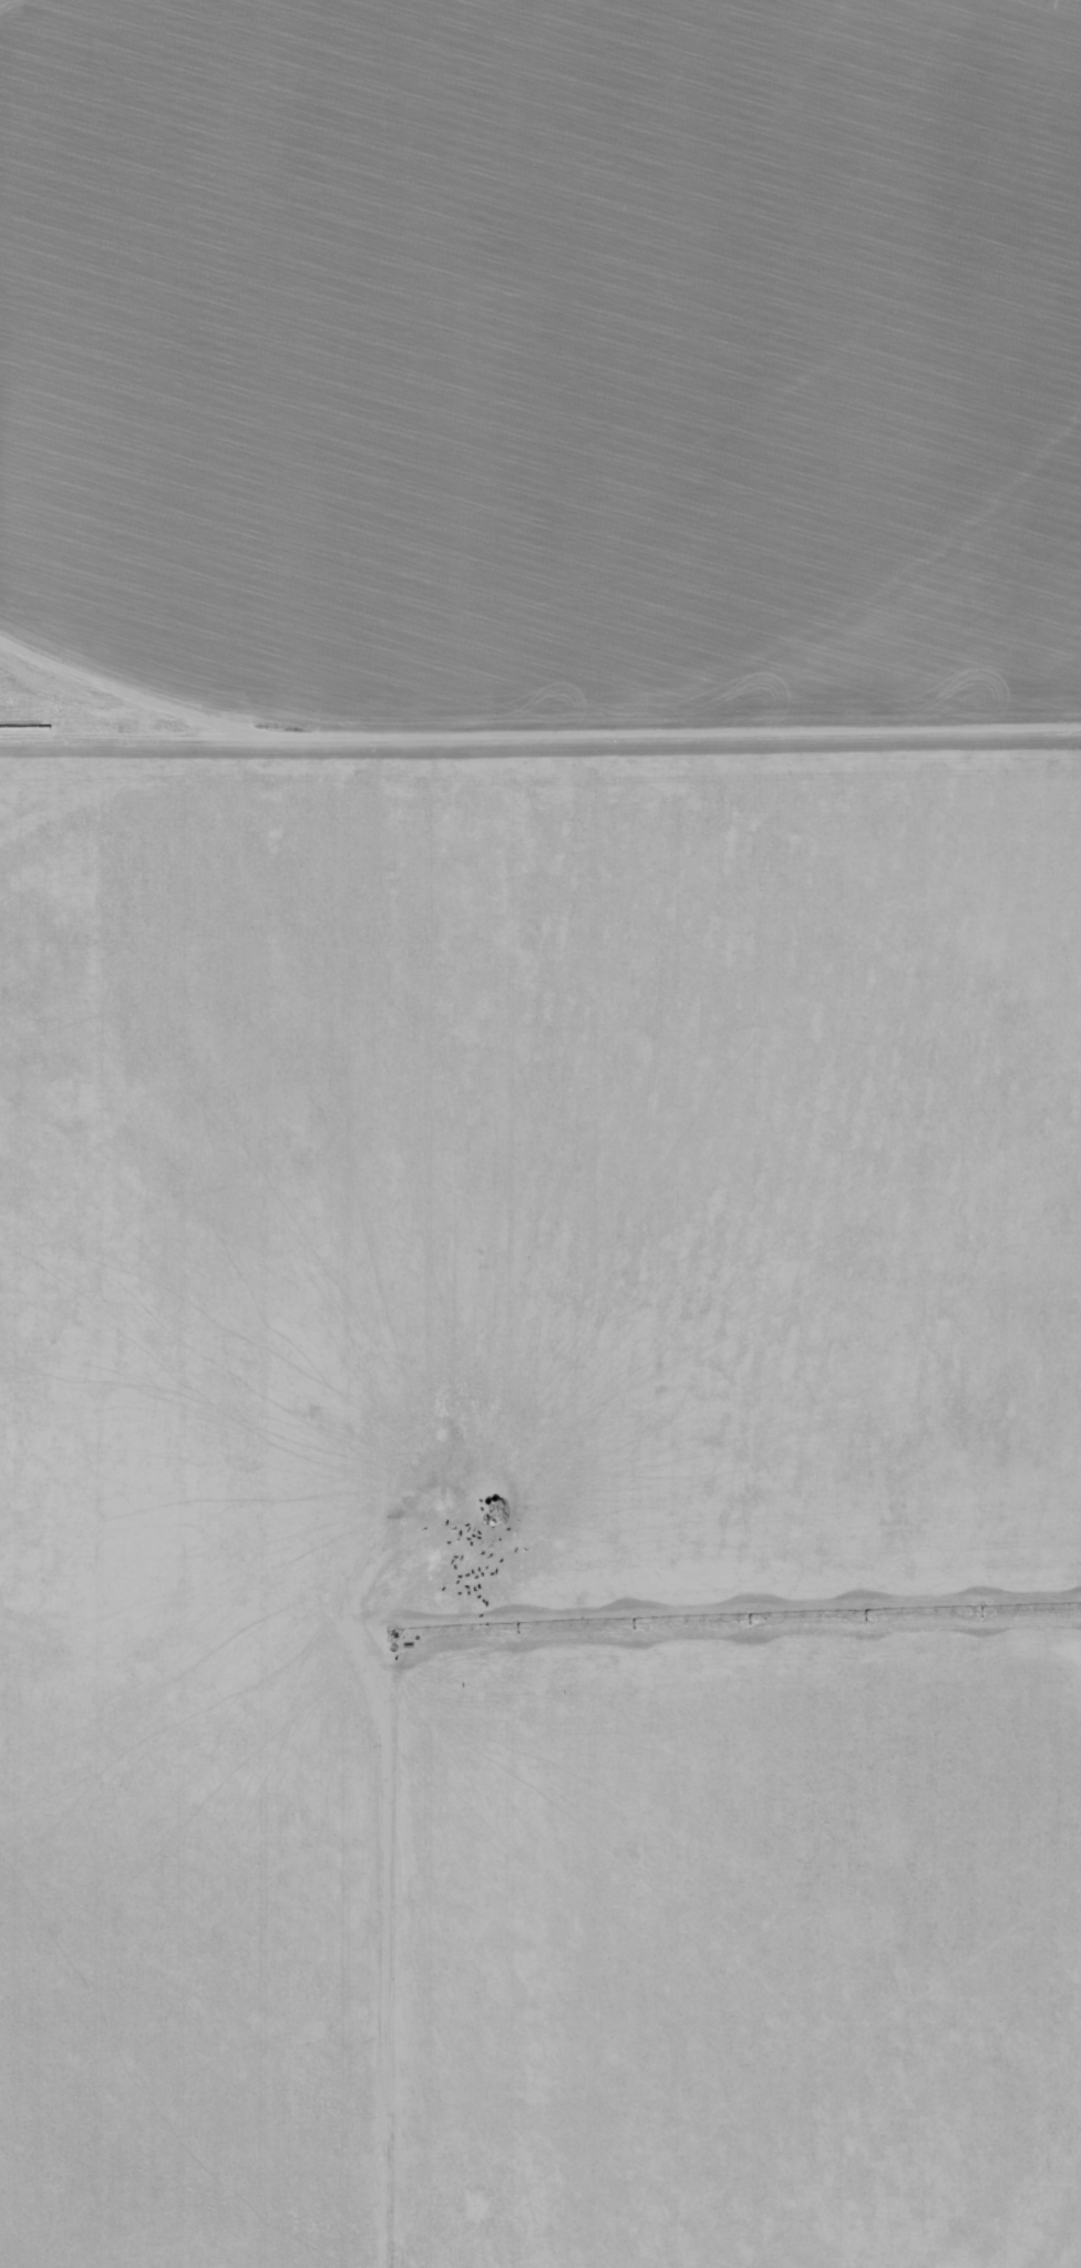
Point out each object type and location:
road: (540, 712)

